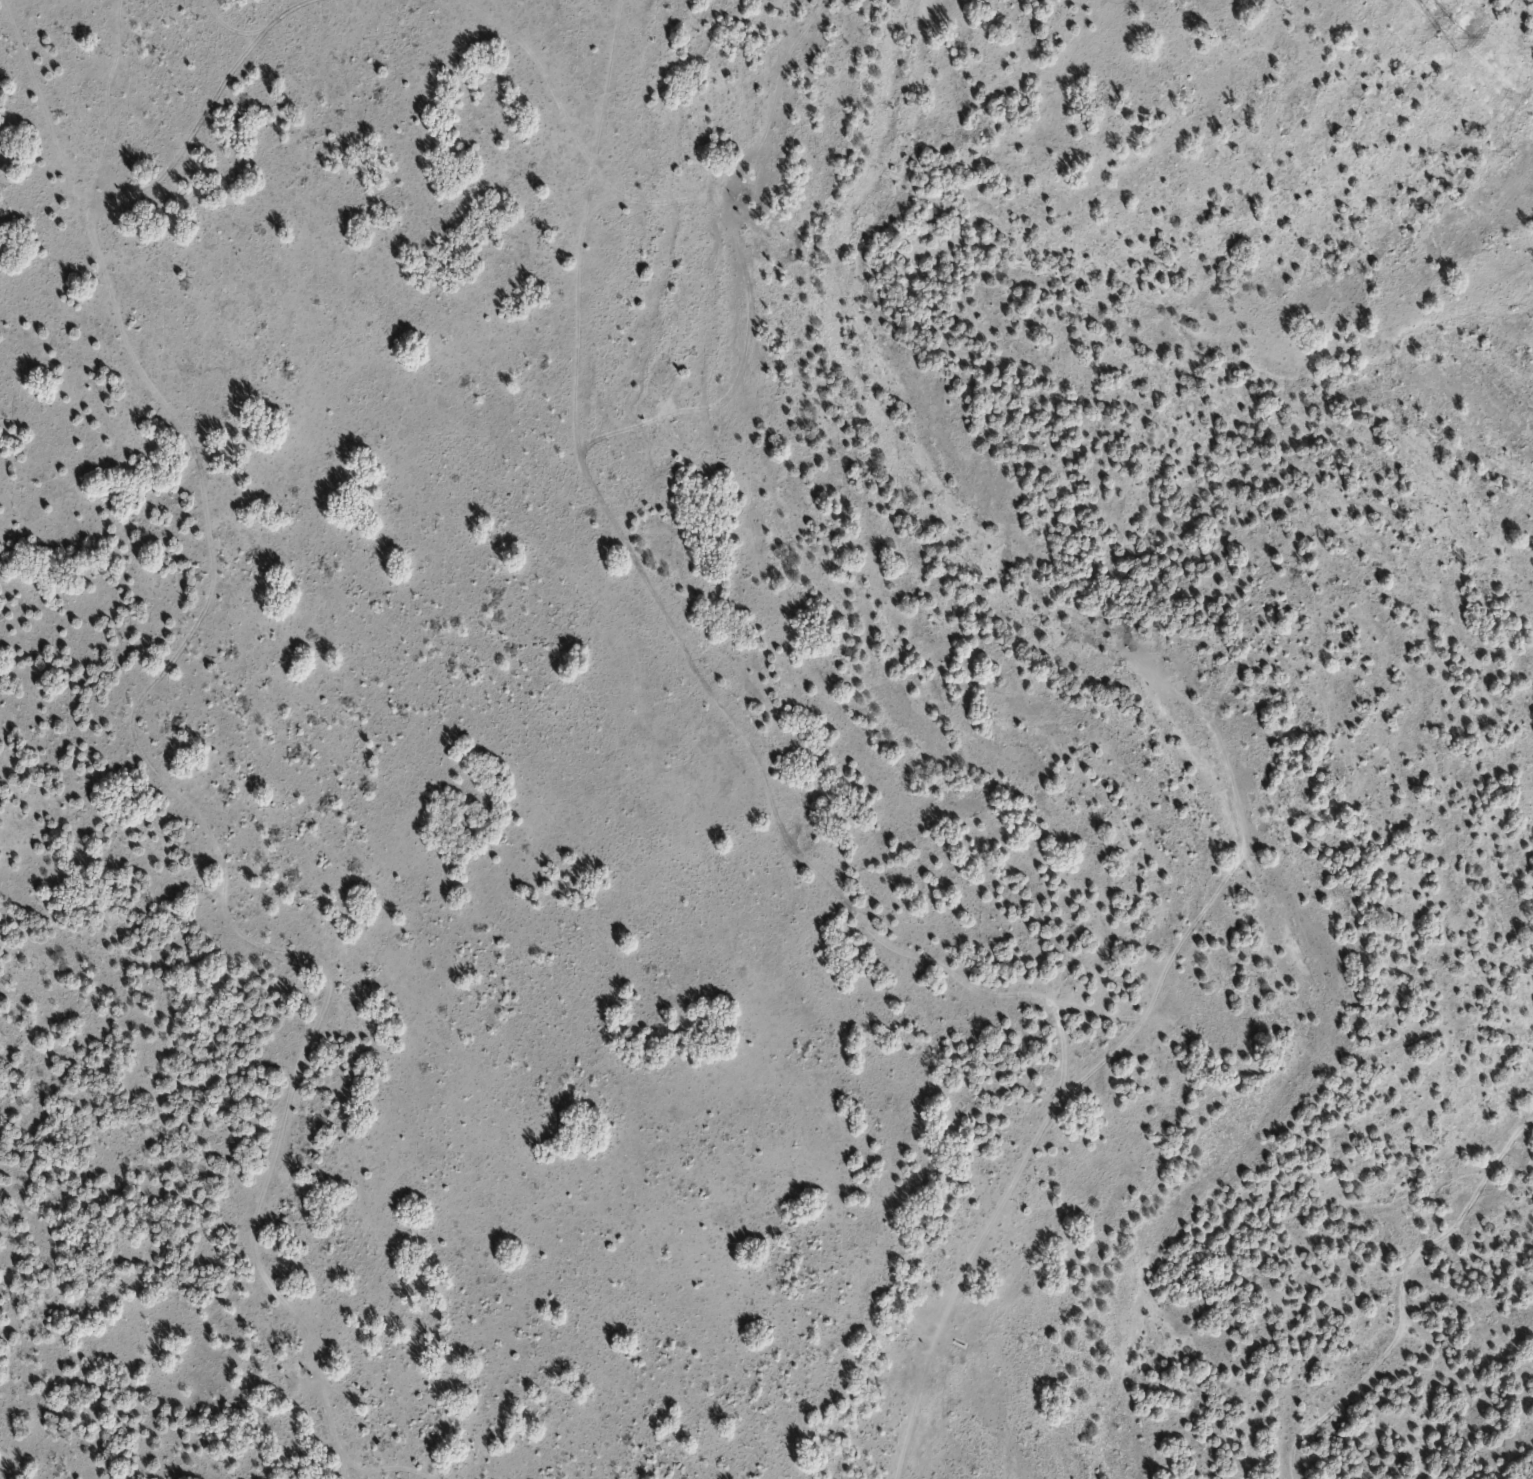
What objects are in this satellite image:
power tower: (1454, 36)

